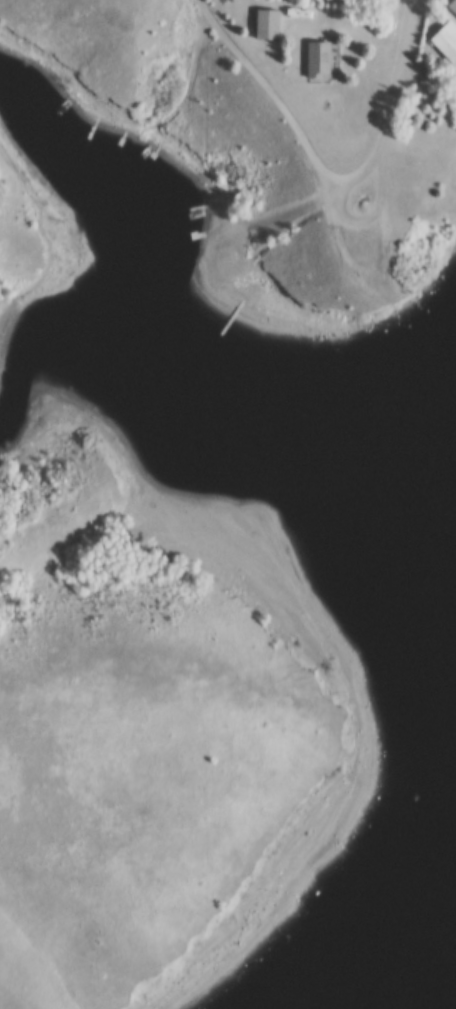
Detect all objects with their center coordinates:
building: (454, 4)
building: (269, 24)
road: (410, 34)
building: (448, 37)
building: (321, 58)
road: (332, 184)

